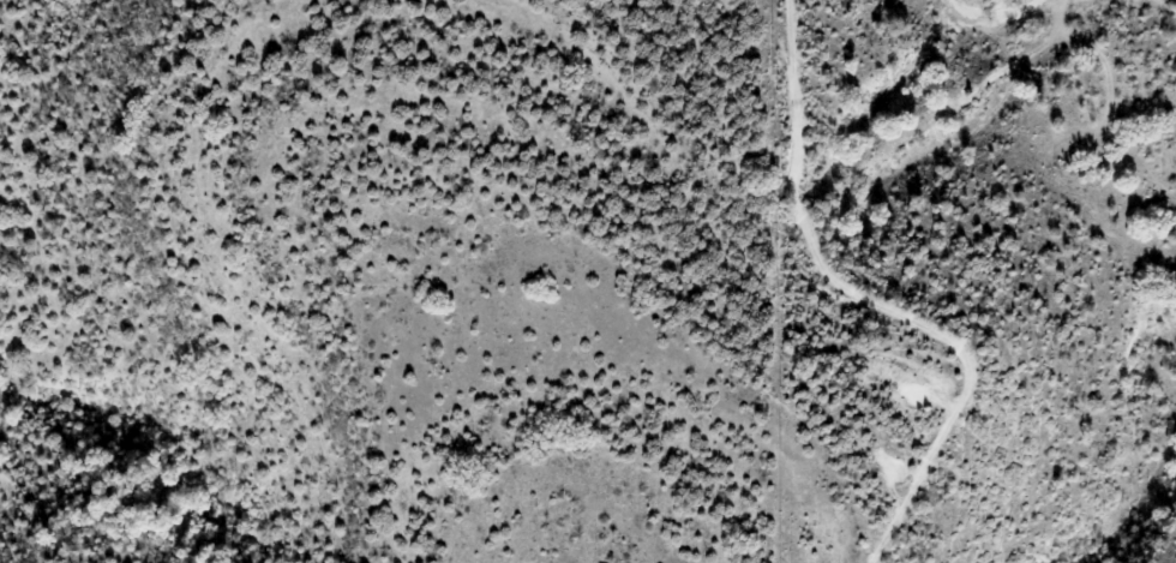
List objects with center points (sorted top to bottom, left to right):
road: (1166, 12)

